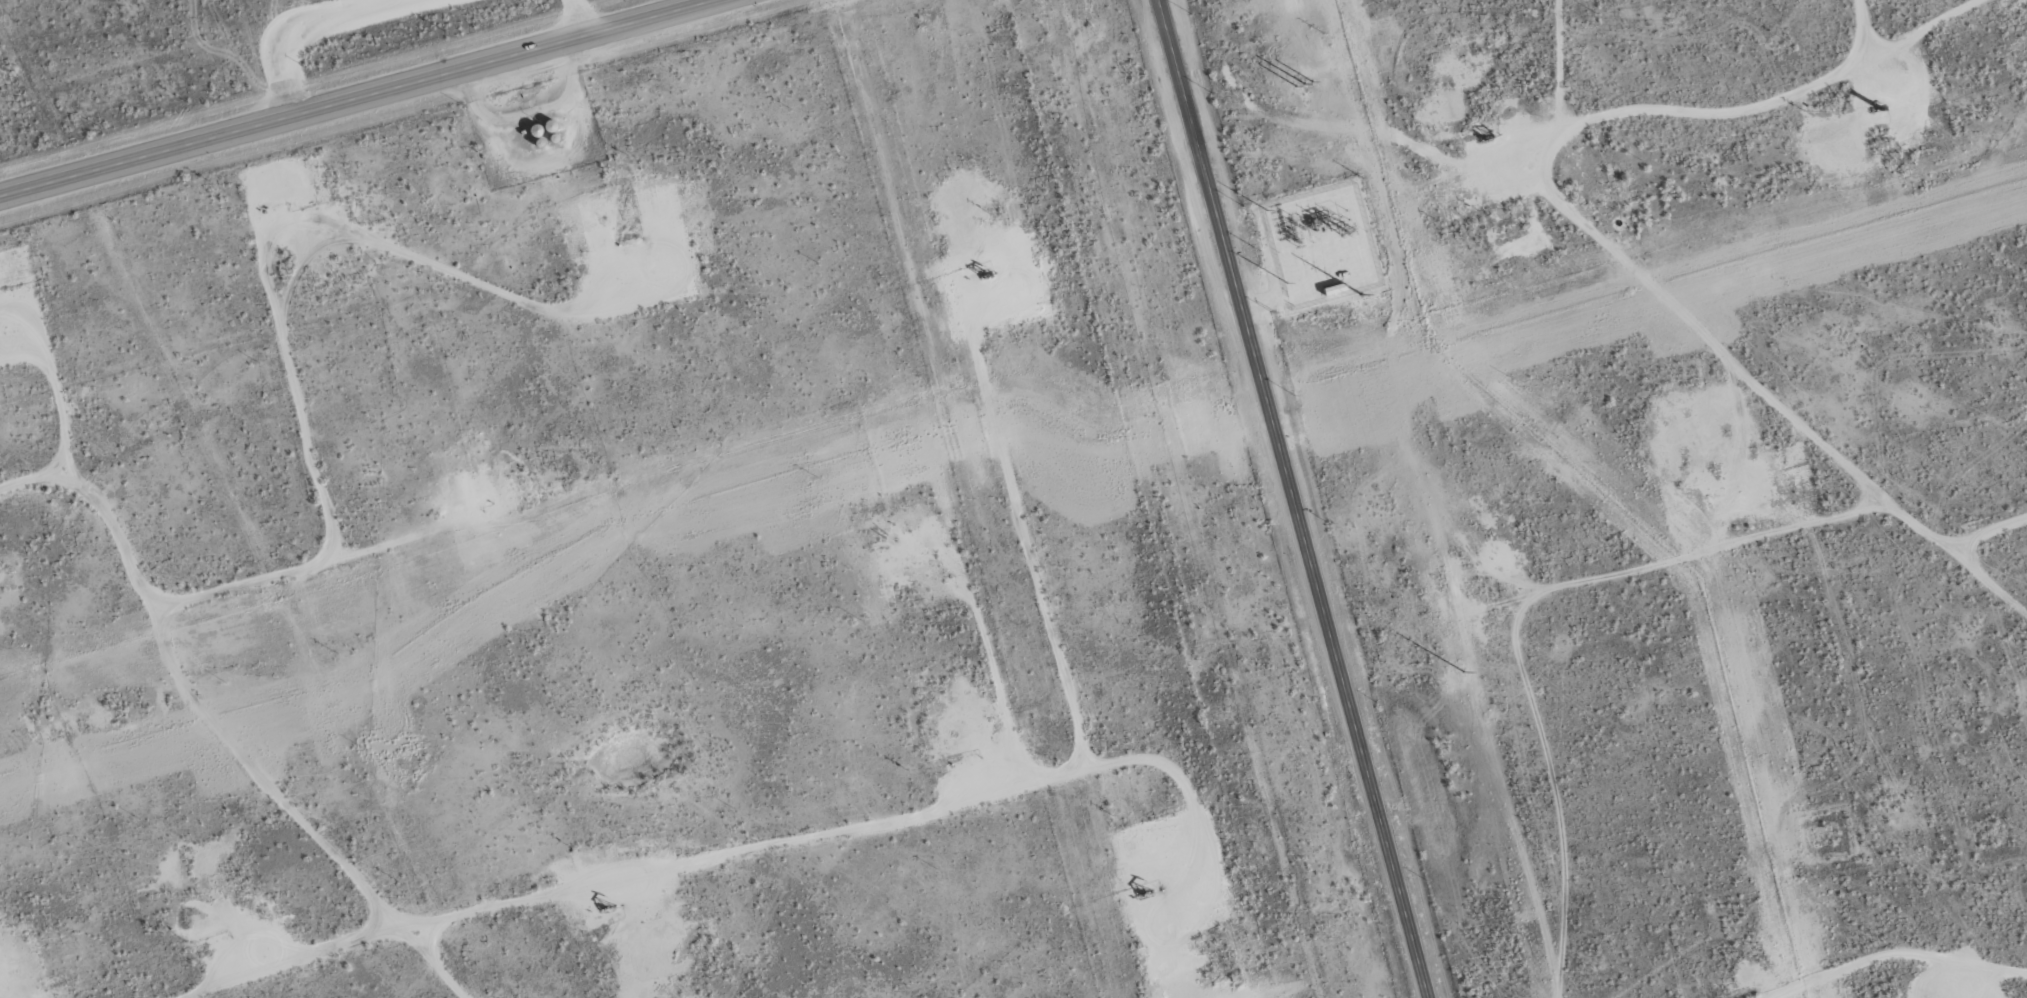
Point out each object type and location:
road: (359, 97)
power tower: (1343, 232)
road: (1627, 236)
power substation: (1295, 250)
road: (1295, 499)
power tower: (1433, 568)
power tower: (1528, 916)

